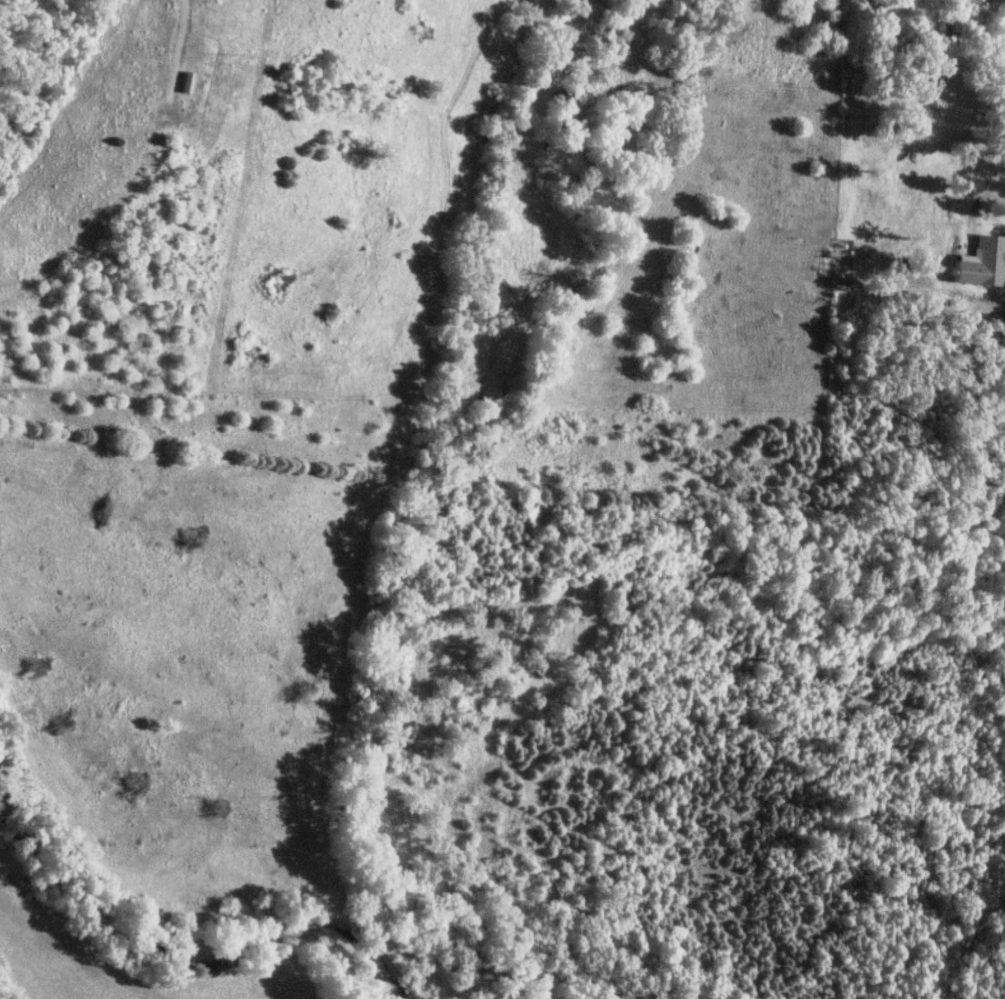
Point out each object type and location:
building: (983, 263)

